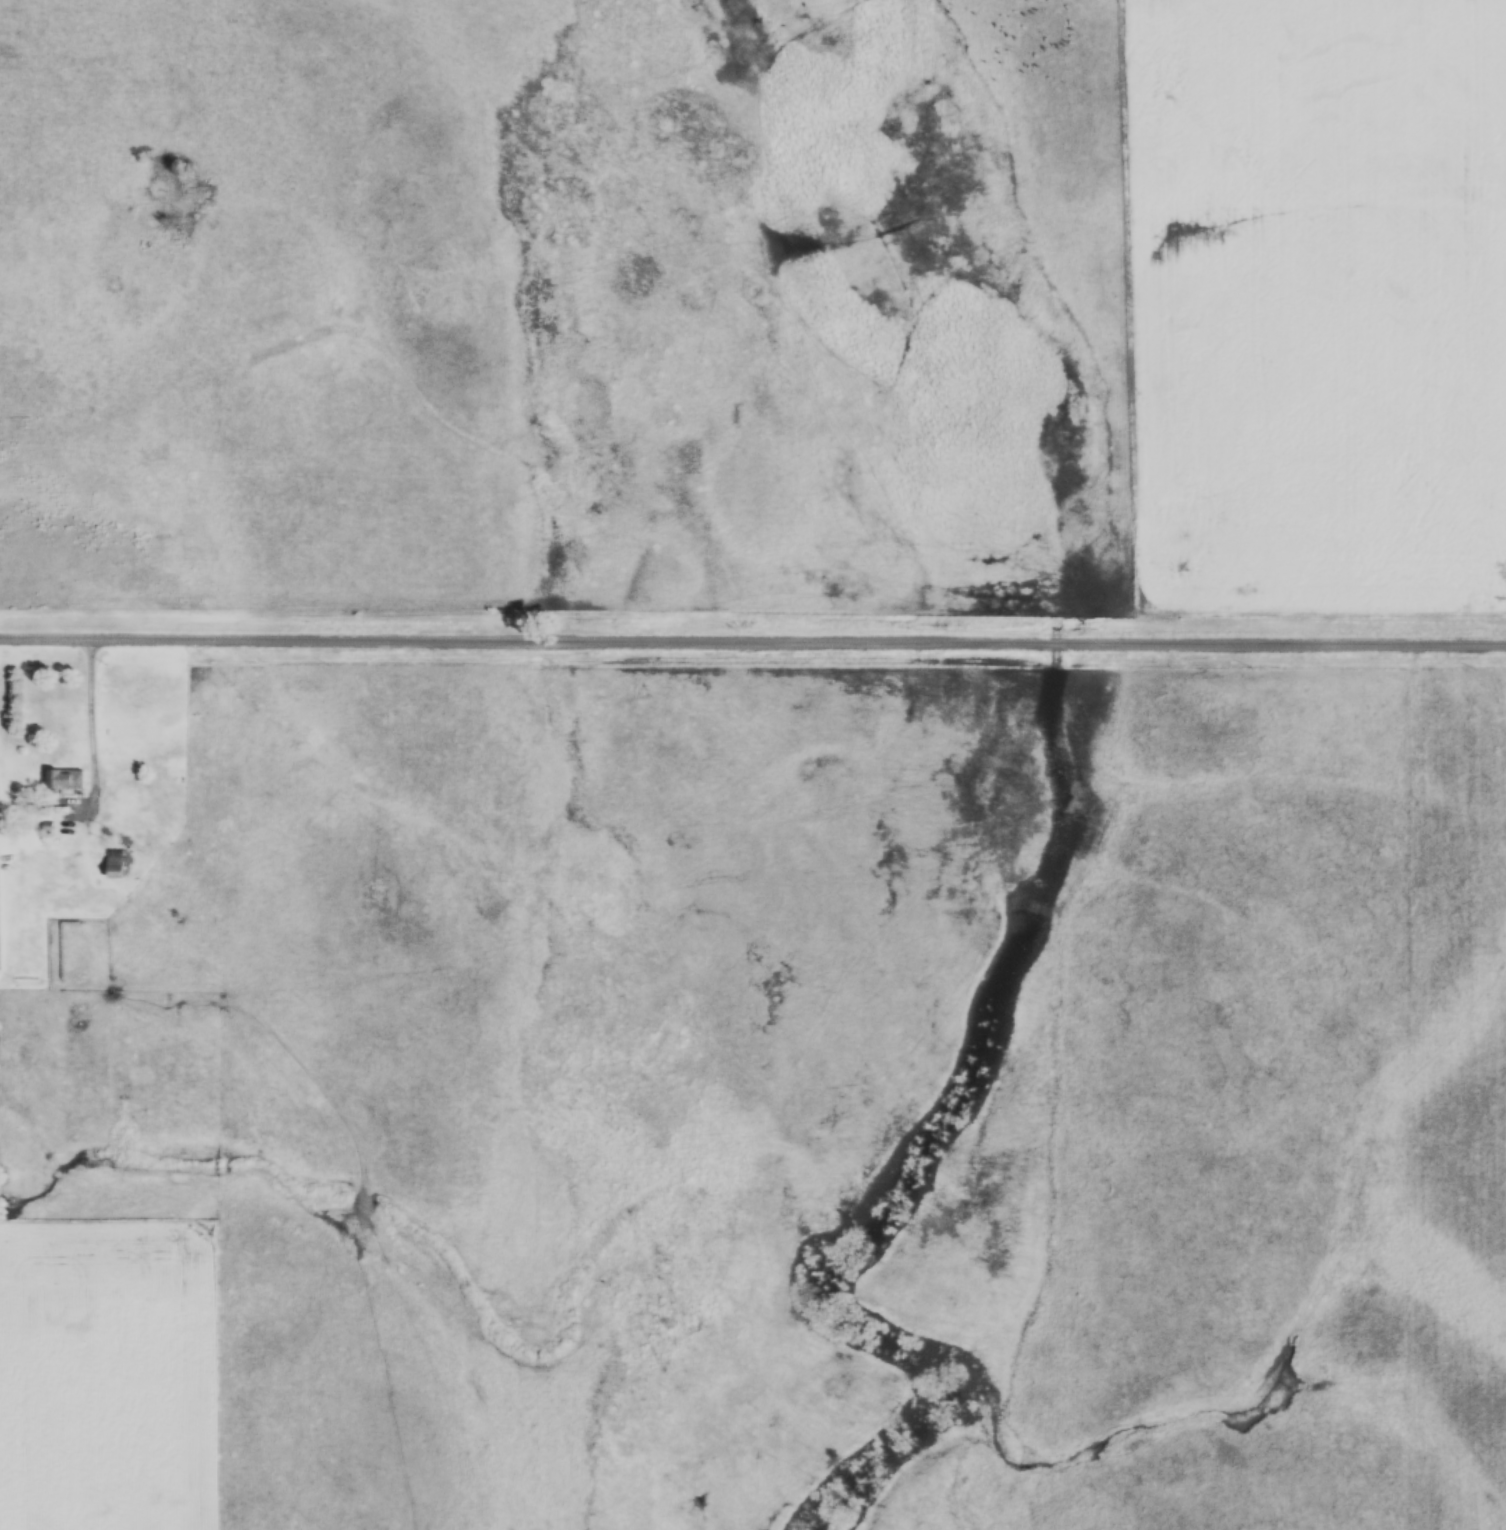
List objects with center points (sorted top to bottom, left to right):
road: (752, 644)
road: (93, 715)
building: (65, 779)
building: (115, 864)

